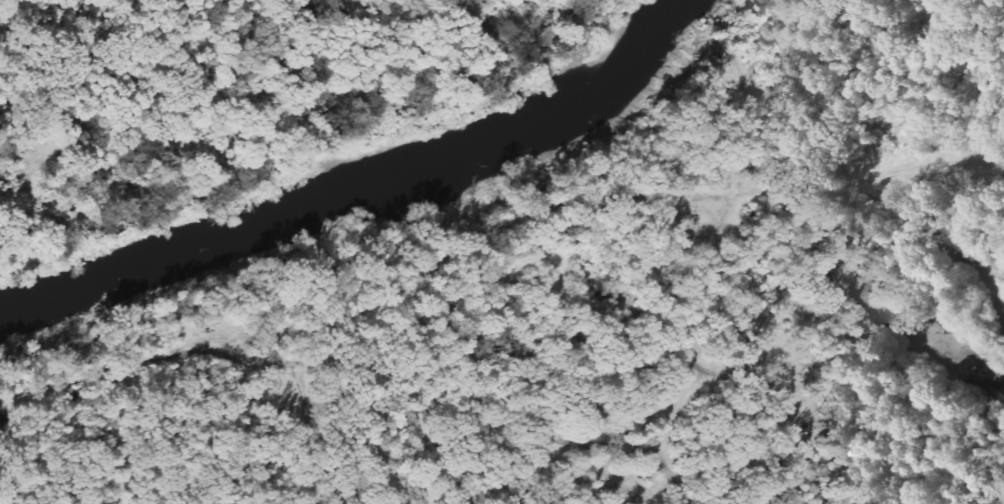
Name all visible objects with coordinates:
river: (360, 194)
road: (356, 368)

